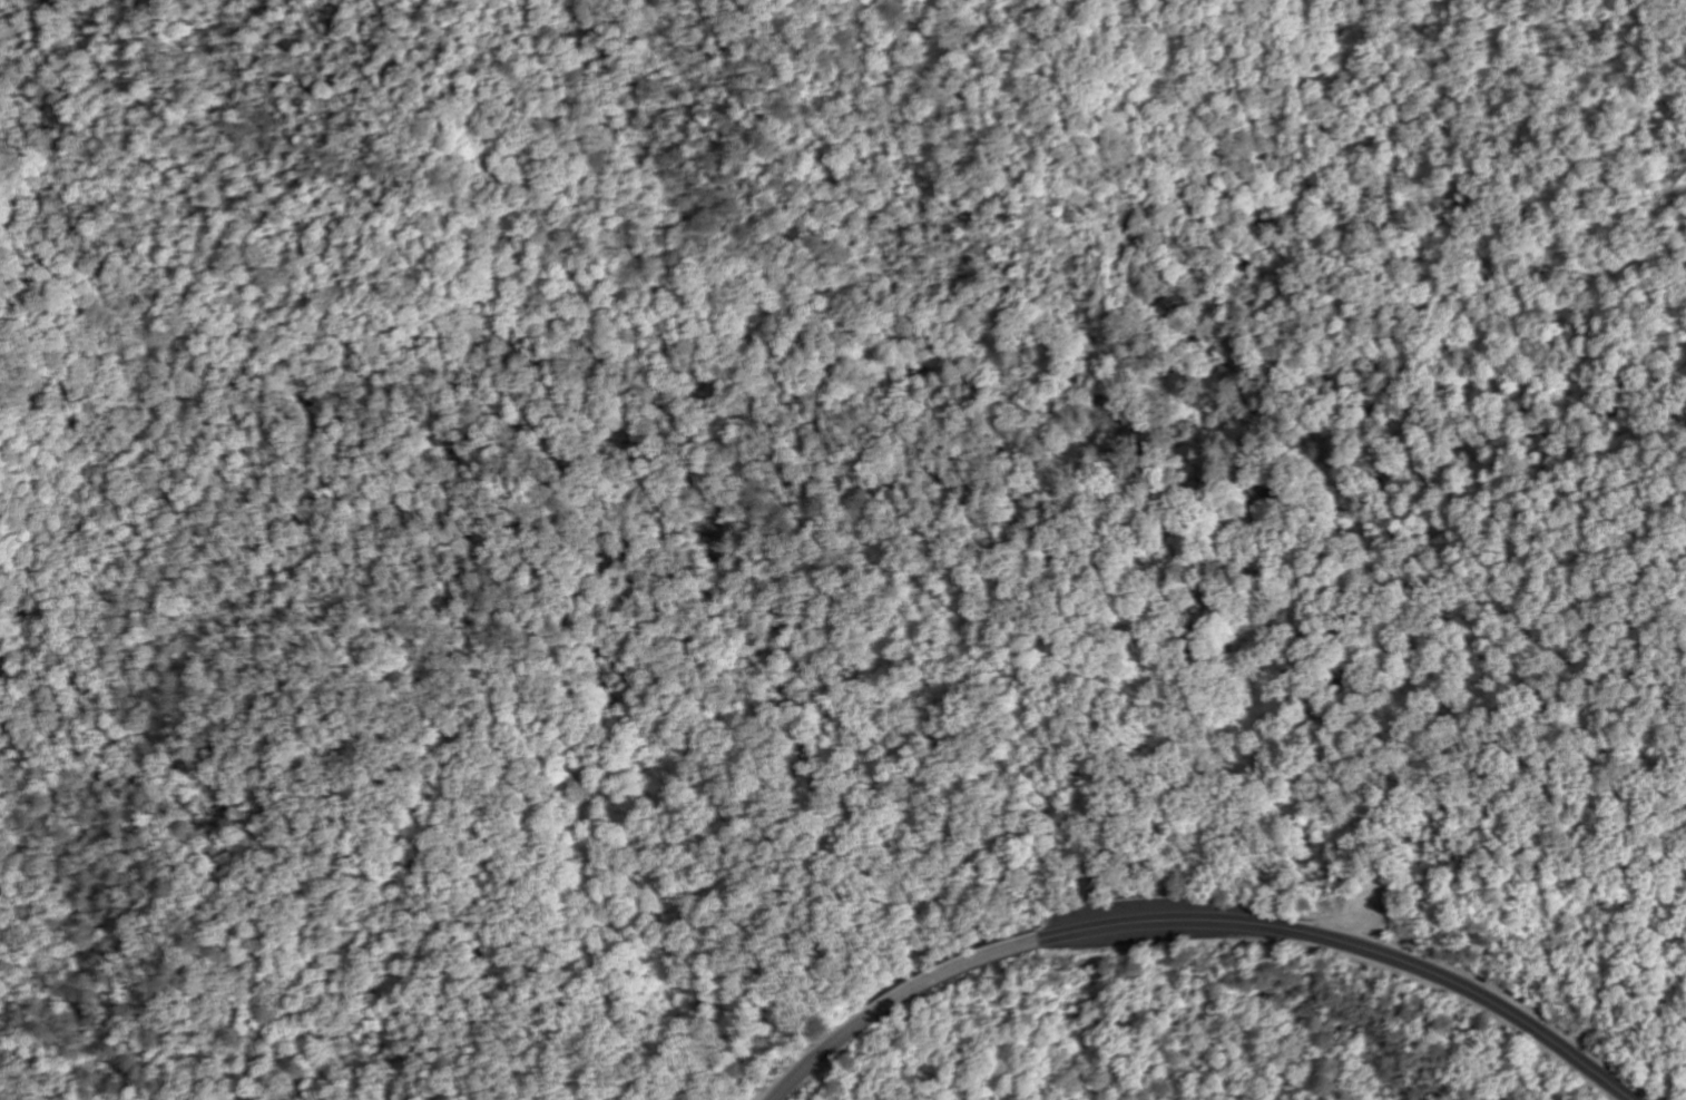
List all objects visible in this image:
road: (1200, 922)

